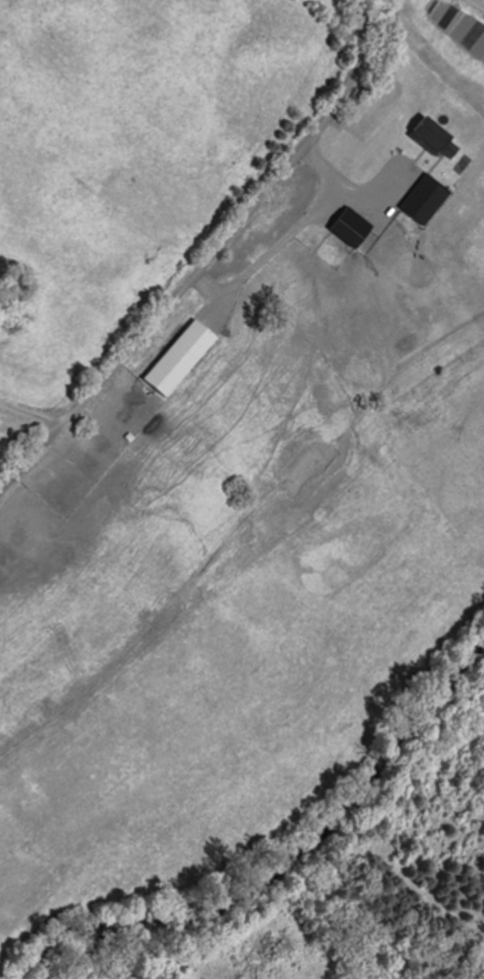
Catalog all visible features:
building: (420, 201)
building: (347, 229)
road: (205, 260)
building: (14, 530)

